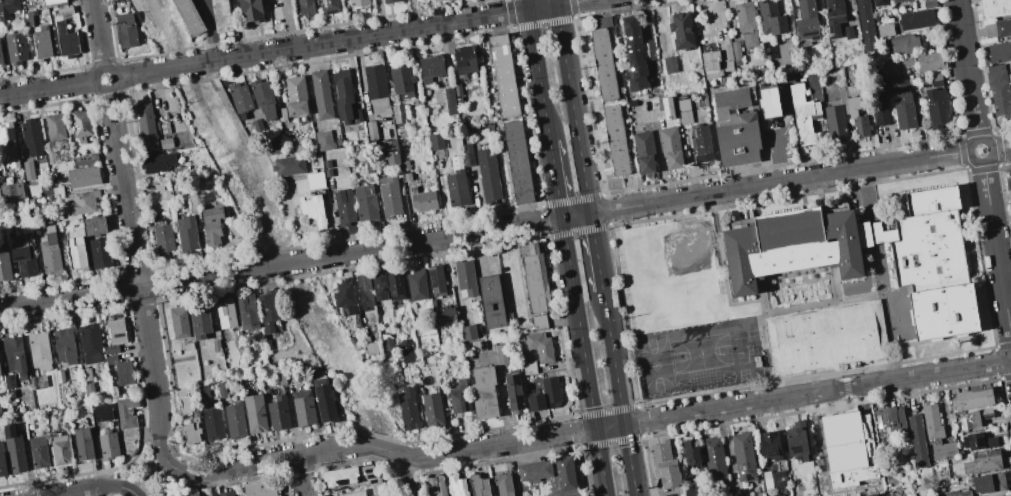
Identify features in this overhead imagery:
building: (440, 0)
building: (926, 0)
building: (52, 1)
rooftop solar panel: (325, 1)
building: (389, 1)
building: (897, 1)
building: (358, 2)
building: (878, 2)
road: (92, 4)
building: (929, 4)
building: (330, 6)
building: (305, 7)
building: (995, 7)
building: (7, 8)
building: (250, 10)
building: (64, 11)
rooftop solar panel: (331, 11)
building: (220, 15)
building: (189, 16)
building: (833, 16)
building: (27, 18)
building: (770, 18)
building: (916, 19)
building: (806, 21)
building: (745, 23)
road: (288, 25)
building: (865, 25)
building: (1002, 27)
building: (126, 29)
road: (212, 30)
building: (680, 30)
rooftop solar panel: (810, 30)
building: (884, 30)
building: (847, 32)
rooftop solar panel: (814, 36)
road: (98, 38)
road: (353, 38)
building: (66, 40)
building: (41, 42)
building: (903, 44)
building: (15, 48)
building: (768, 51)
building: (725, 52)
building: (999, 52)
building: (735, 53)
building: (633, 54)
building: (1, 57)
building: (464, 59)
building: (602, 59)
building: (905, 61)
building: (930, 61)
building: (669, 64)
building: (710, 64)
building: (727, 65)
building: (995, 67)
building: (430, 68)
road: (966, 69)
road: (538, 70)
building: (503, 76)
building: (935, 79)
building: (1010, 81)
building: (402, 82)
building: (375, 85)
road: (114, 86)
road: (47, 89)
building: (457, 90)
building: (999, 93)
building: (343, 94)
building: (321, 95)
building: (295, 96)
building: (262, 97)
building: (239, 98)
building: (458, 100)
building: (901, 100)
building: (449, 101)
building: (768, 102)
building: (631, 103)
road: (572, 106)
building: (936, 107)
building: (667, 108)
building: (684, 109)
building: (880, 109)
building: (281, 114)
building: (398, 114)
building: (802, 114)
building: (357, 115)
building: (856, 116)
building: (835, 123)
building: (80, 125)
building: (256, 126)
building: (54, 127)
building: (146, 127)
building: (735, 128)
building: (371, 130)
rooftop solar panel: (11, 135)
building: (31, 137)
building: (323, 140)
building: (615, 140)
building: (436, 141)
building: (165, 142)
building: (701, 144)
building: (8, 145)
building: (272, 146)
building: (670, 147)
road: (1001, 147)
building: (391, 152)
building: (643, 152)
building: (467, 155)
road: (776, 155)
building: (85, 159)
building: (157, 162)
building: (517, 162)
road: (983, 162)
building: (288, 166)
building: (369, 167)
building: (327, 168)
building: (179, 169)
building: (28, 170)
building: (487, 176)
building: (83, 177)
road: (555, 179)
building: (314, 180)
road: (836, 181)
building: (456, 183)
building: (1008, 184)
building: (57, 190)
building: (11, 191)
building: (388, 196)
road: (864, 196)
building: (423, 200)
building: (30, 201)
building: (83, 201)
building: (365, 202)
building: (343, 207)
building: (1010, 208)
building: (312, 209)
building: (212, 224)
building: (93, 225)
road: (608, 226)
road: (484, 230)
building: (186, 233)
building: (872, 234)
building: (162, 238)
building: (930, 242)
building: (791, 246)
building: (75, 249)
road: (996, 250)
road: (595, 251)
building: (100, 253)
building: (50, 254)
rooftop solar panel: (18, 257)
road: (878, 257)
road: (979, 257)
building: (24, 260)
road: (724, 262)
building: (4, 263)
road: (722, 266)
rooftop solar panel: (22, 267)
building: (822, 269)
road: (1005, 271)
park: (667, 277)
road: (138, 278)
rooftop solar panel: (433, 278)
building: (533, 278)
building: (465, 279)
building: (435, 280)
road: (835, 282)
building: (416, 284)
building: (395, 286)
building: (379, 287)
road: (830, 289)
building: (364, 290)
road: (897, 291)
building: (343, 293)
road: (761, 293)
rooftop solar panel: (398, 297)
road: (848, 298)
road: (769, 300)
building: (490, 301)
building: (268, 309)
building: (943, 311)
building: (247, 312)
building: (225, 313)
building: (446, 315)
road: (623, 316)
road: (897, 319)
building: (199, 321)
building: (538, 321)
building: (179, 322)
road: (762, 326)
building: (467, 332)
building: (114, 335)
rooftop solar panel: (118, 335)
park: (752, 335)
building: (826, 338)
road: (934, 339)
park: (739, 342)
building: (90, 343)
building: (267, 344)
building: (387, 344)
building: (65, 345)
building: (215, 345)
building: (188, 346)
building: (540, 346)
building: (371, 348)
park: (750, 348)
road: (977, 349)
building: (39, 350)
road: (766, 352)
building: (500, 353)
park: (700, 353)
building: (14, 356)
road: (583, 356)
building: (407, 357)
park: (741, 357)
road: (612, 358)
building: (110, 359)
road: (916, 359)
road: (896, 361)
park: (654, 365)
building: (528, 367)
building: (0, 371)
building: (123, 373)
park: (743, 373)
building: (86, 374)
building: (59, 376)
park: (727, 376)
building: (280, 378)
building: (8, 381)
building: (42, 381)
park: (682, 383)
building: (89, 388)
building: (221, 390)
building: (549, 390)
building: (201, 391)
building: (513, 391)
road: (847, 391)
building: (483, 392)
building: (1, 394)
building: (458, 397)
building: (974, 397)
building: (323, 399)
building: (183, 402)
building: (534, 402)
building: (303, 407)
road: (636, 407)
building: (408, 409)
building: (433, 410)
building: (102, 412)
building: (126, 412)
building: (254, 413)
building: (278, 413)
rooftop solar panel: (886, 415)
building: (975, 417)
rooftop solar panel: (878, 418)
building: (234, 420)
building: (889, 420)
building: (212, 424)
traffic signals: (624, 425)
road: (602, 428)
rooftop solar panel: (890, 429)
building: (190, 430)
traffic signals: (596, 430)
building: (935, 432)
building: (796, 440)
building: (842, 441)
building: (917, 441)
building: (977, 441)
building: (82, 444)
building: (771, 445)
building: (108, 446)
building: (14, 449)
building: (60, 450)
building: (38, 451)
building: (690, 453)
building: (743, 456)
building: (714, 459)
road: (629, 460)
building: (983, 461)
building: (2, 464)
building: (663, 464)
road: (117, 468)
road: (179, 470)
building: (534, 471)
building: (564, 473)
building: (369, 474)
road: (301, 475)
building: (339, 476)
road: (405, 476)
road: (147, 477)
building: (778, 478)
building: (988, 482)
building: (504, 484)
road: (108, 486)
building: (437, 486)
building: (457, 486)
building: (480, 486)
building: (261, 488)
road: (178, 489)
building: (691, 489)
road: (66, 492)
road: (130, 493)
building: (223, 493)
building: (350, 493)
building: (957, 493)
building: (192, 495)
building: (747, 495)
building: (779, 495)
building: (872, 495)
building: (1006, 495)

